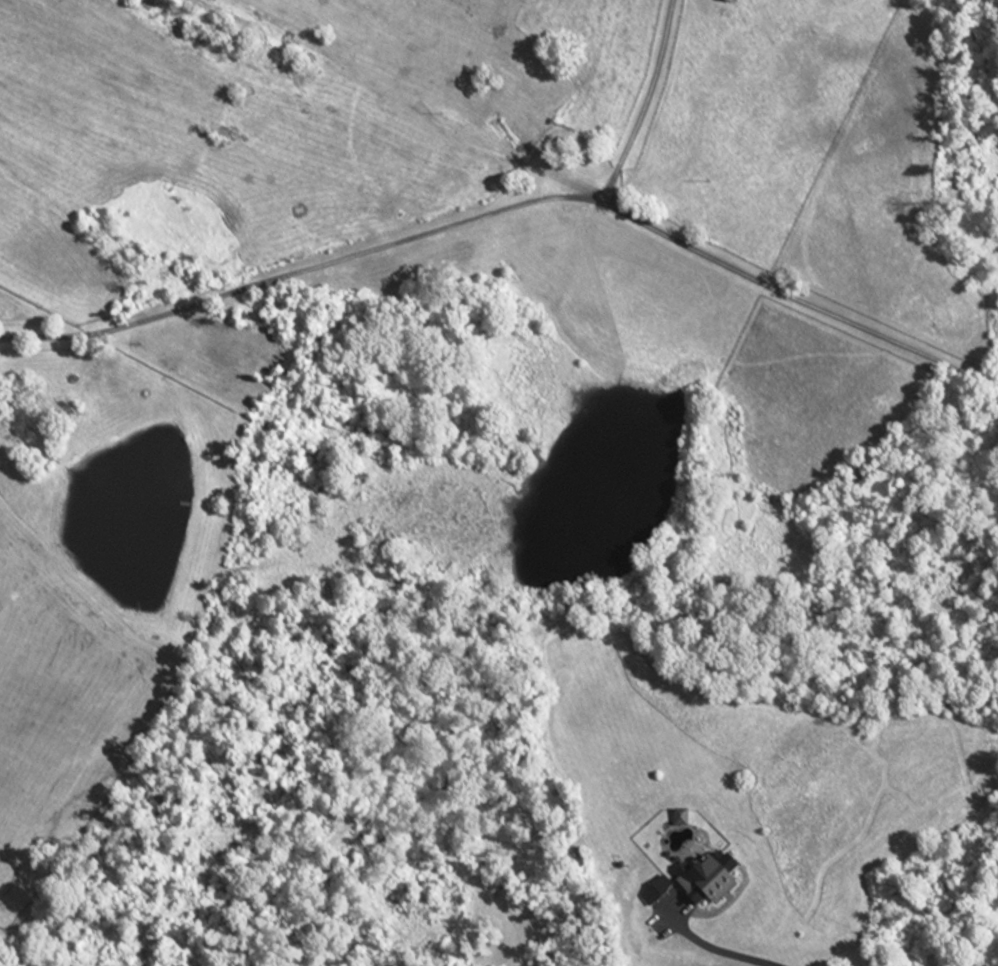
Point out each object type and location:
building: (724, 2)
road: (646, 102)
road: (305, 271)
road: (804, 291)
road: (712, 947)

